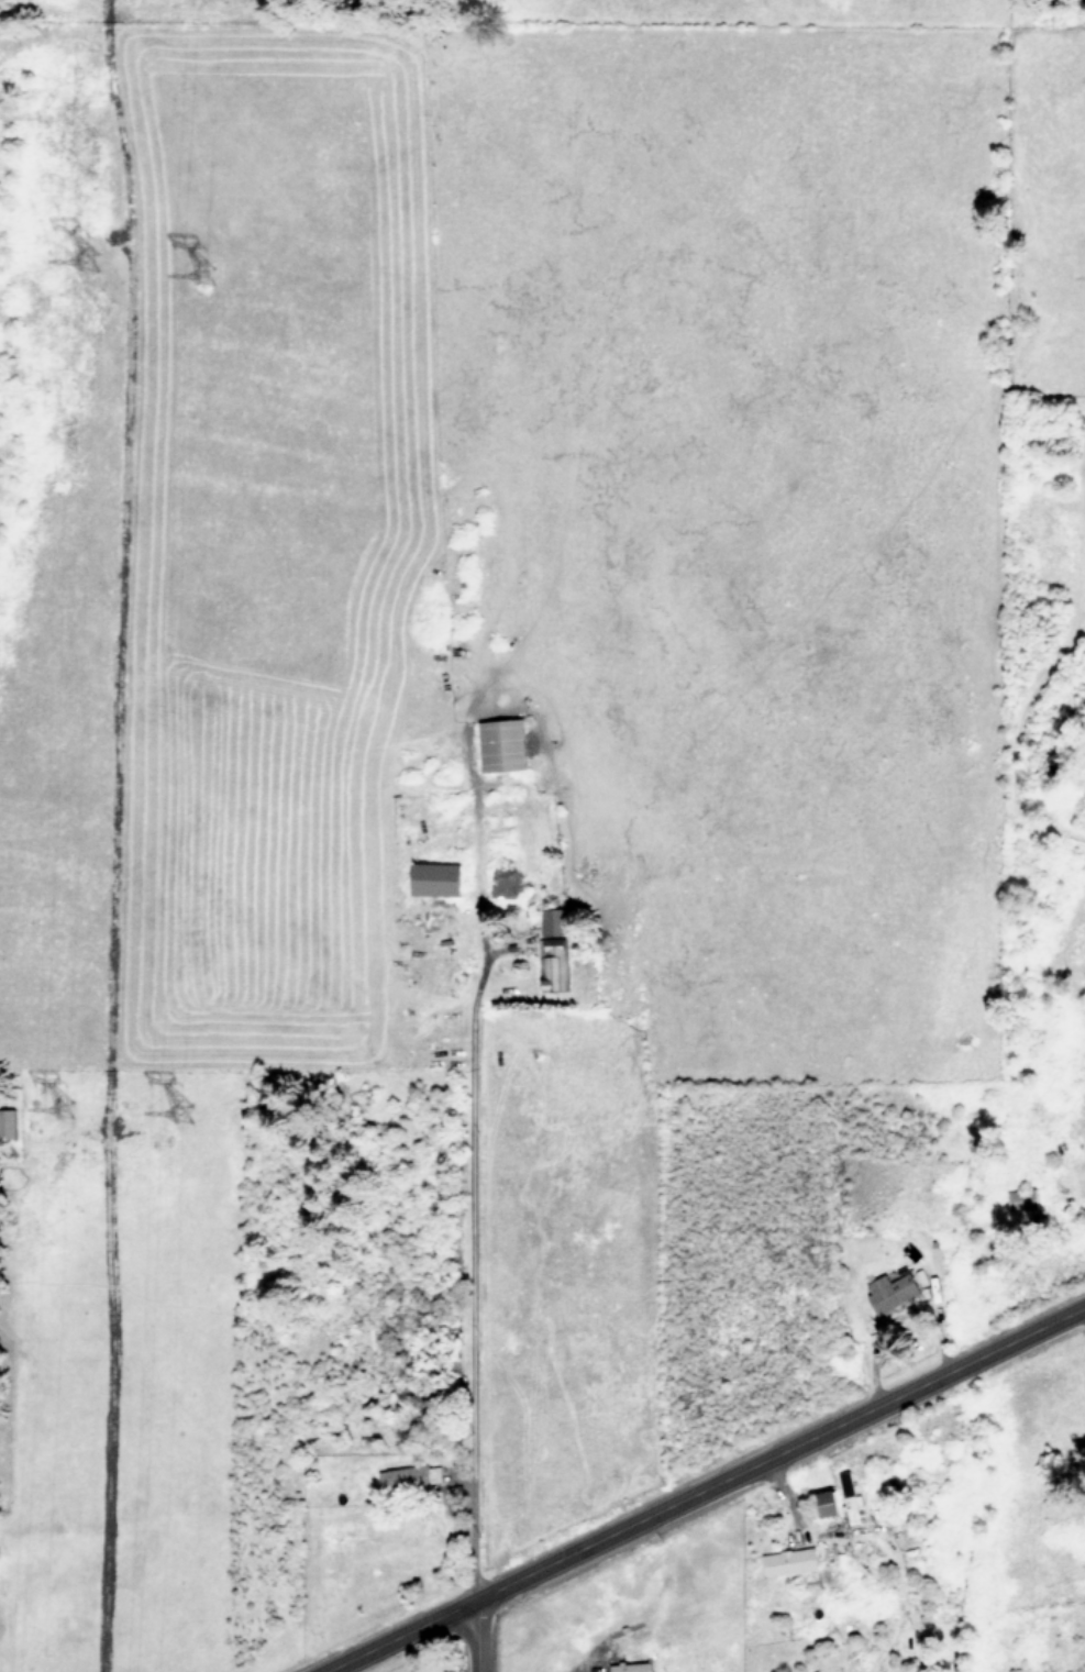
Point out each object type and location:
power tower: (89, 277)
power tower: (209, 289)
building: (502, 743)
building: (436, 877)
building: (554, 921)
building: (554, 963)
power tower: (71, 1115)
power tower: (192, 1116)
building: (1023, 1197)
building: (890, 1289)
road: (473, 1304)
building: (412, 1476)
road: (704, 1486)
building: (851, 1499)
building: (829, 1502)
building: (789, 1561)
road: (473, 1636)
building: (630, 1667)

